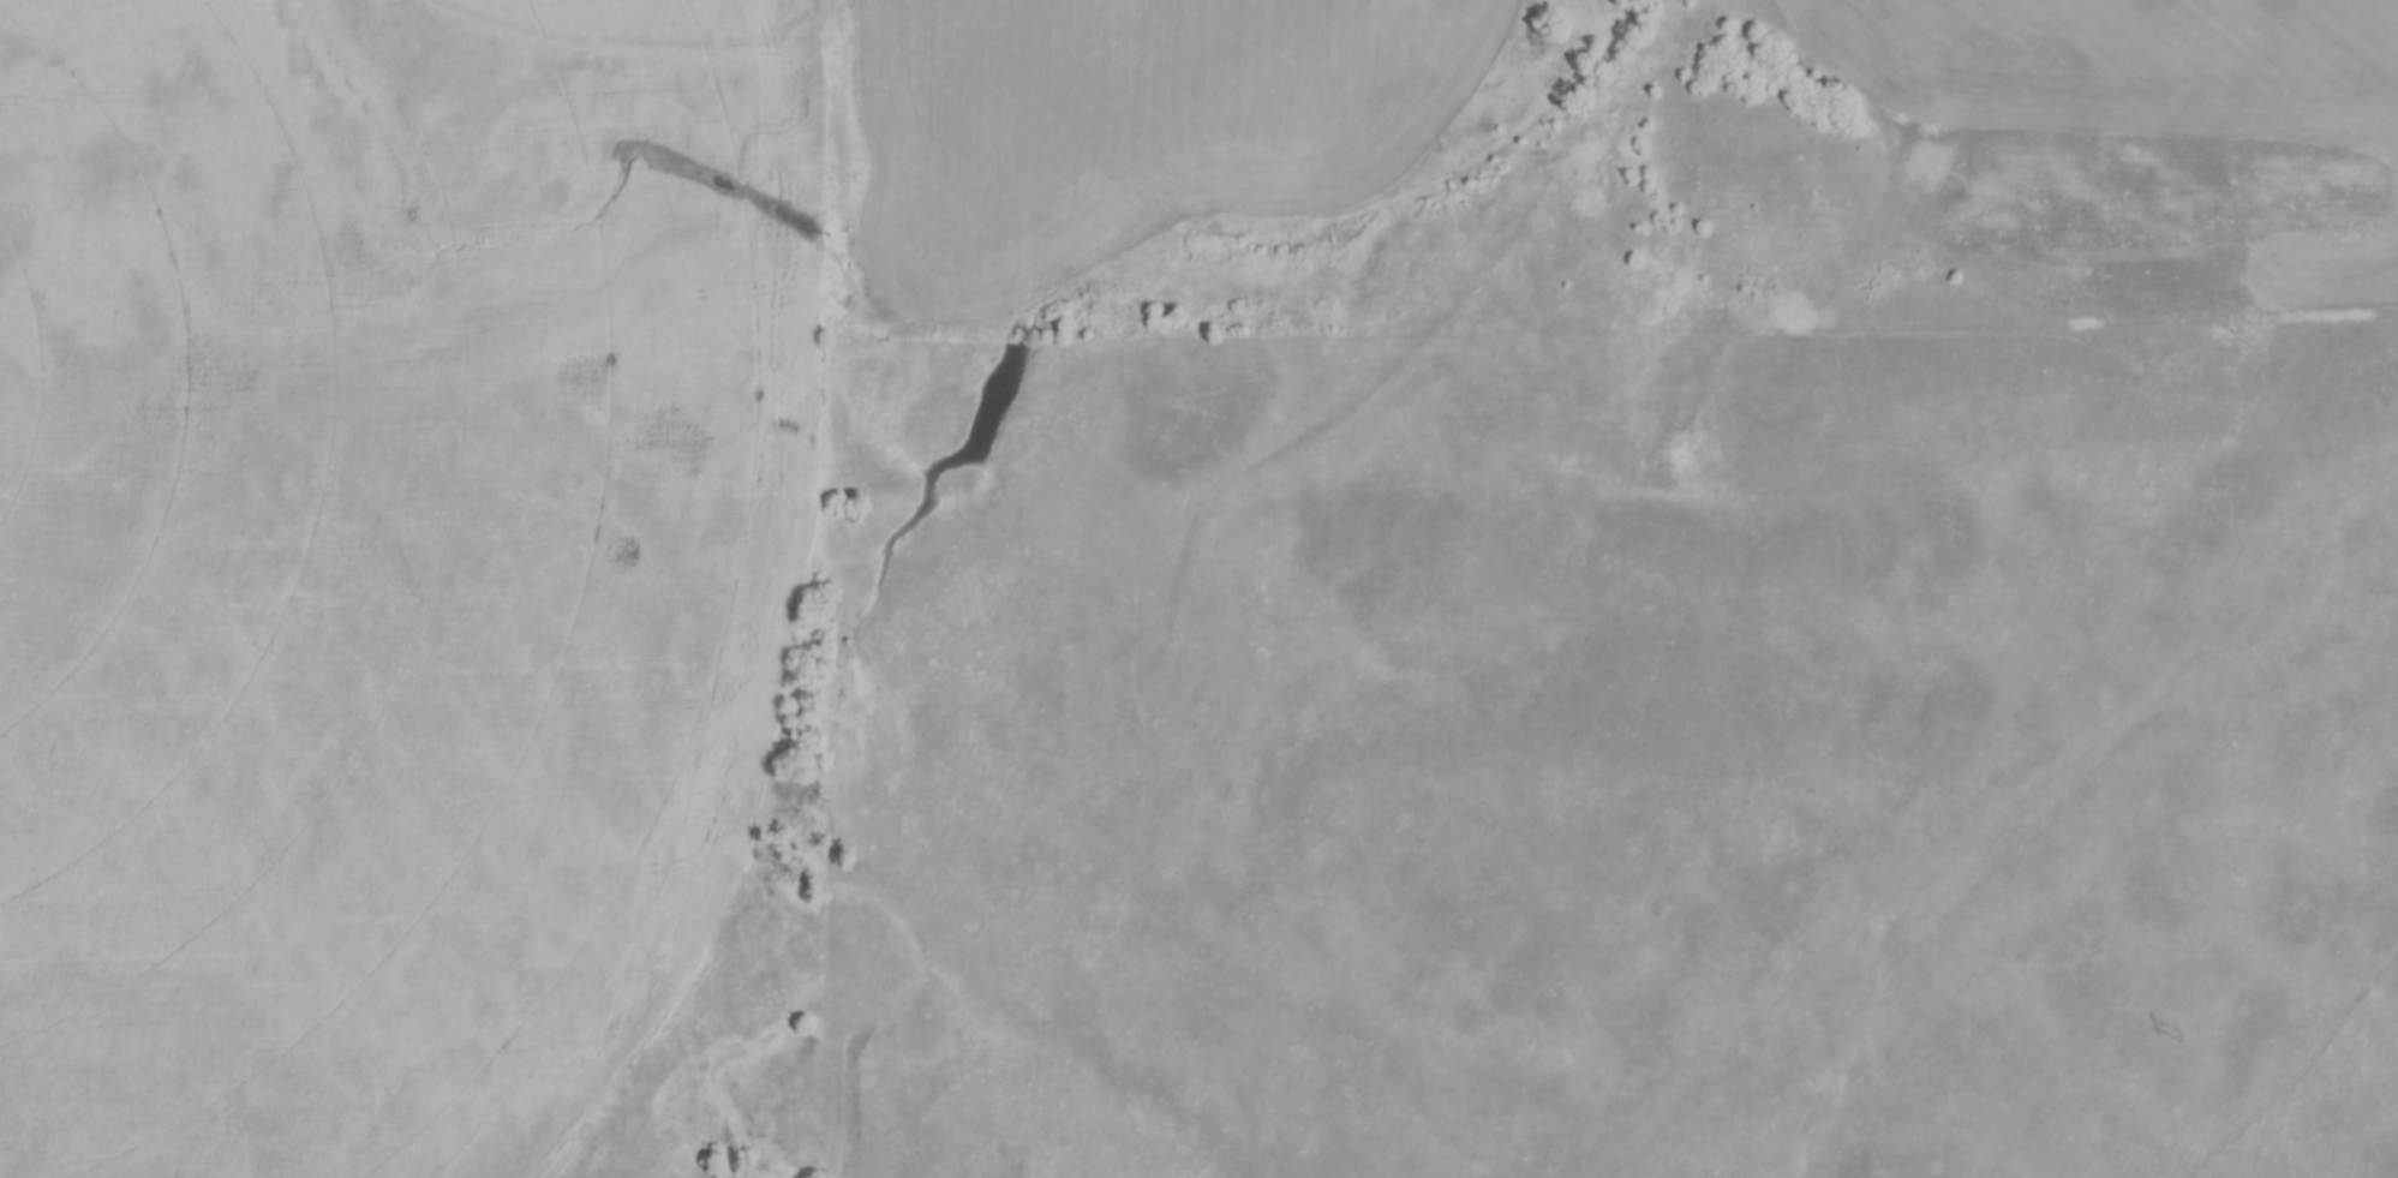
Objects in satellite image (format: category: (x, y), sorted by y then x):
power tower: (2175, 1036)

